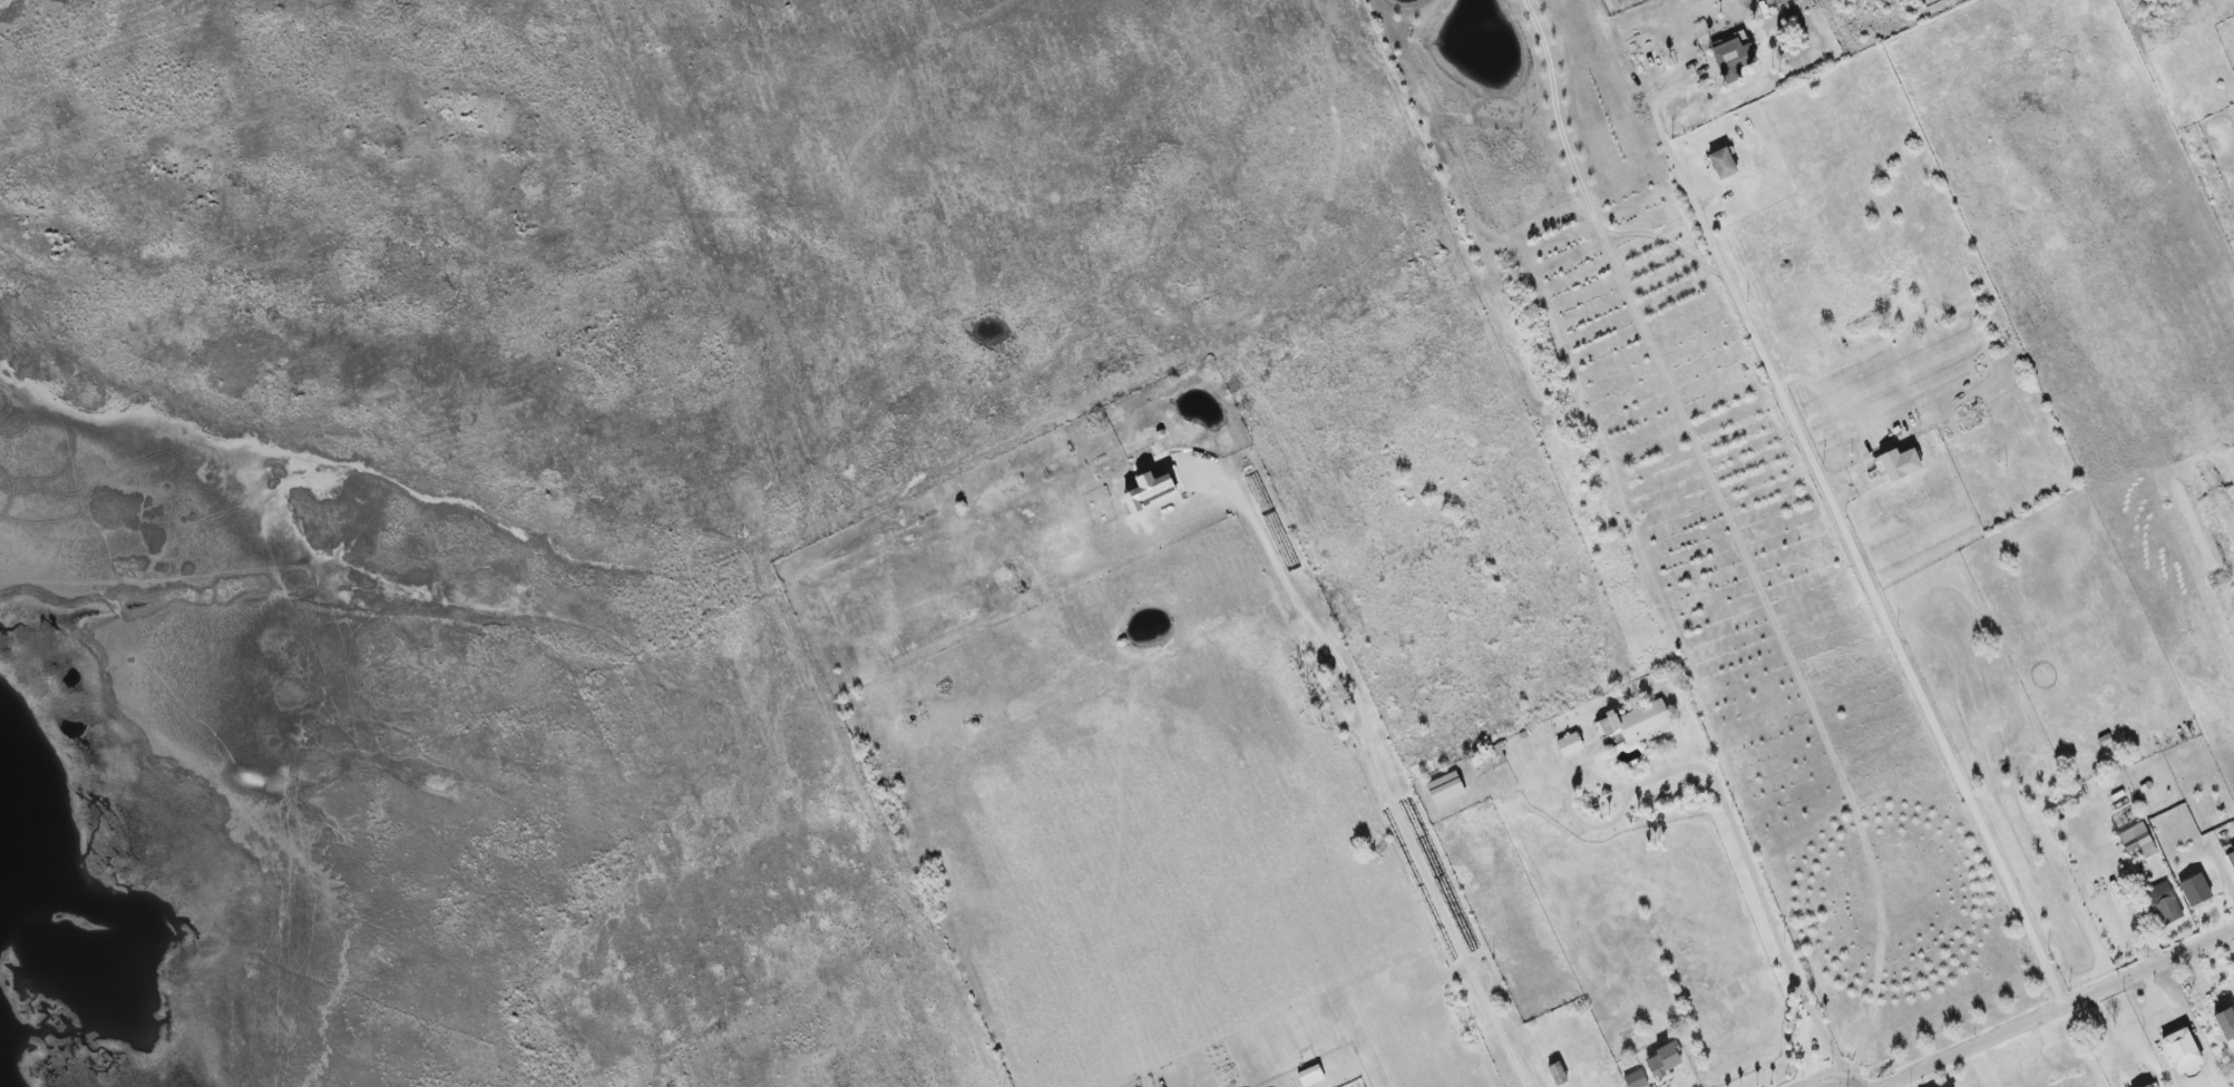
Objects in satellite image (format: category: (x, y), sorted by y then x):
building: (1733, 58)
road: (1670, 106)
building: (1723, 163)
road: (1581, 186)
building: (1900, 463)
building: (1154, 491)
road: (1873, 581)
building: (1633, 724)
building: (1569, 744)
building: (1487, 758)
road: (1379, 767)
building: (1446, 790)
building: (2138, 839)
building: (2231, 860)
building: (2194, 889)
building: (2163, 902)
road: (1774, 926)
road: (2064, 1009)
building: (2225, 1024)
building: (2181, 1051)
building: (1664, 1062)
building: (1310, 1076)
road: (1826, 1078)
building: (1636, 1079)
road: (1853, 1079)
building: (2150, 1085)

